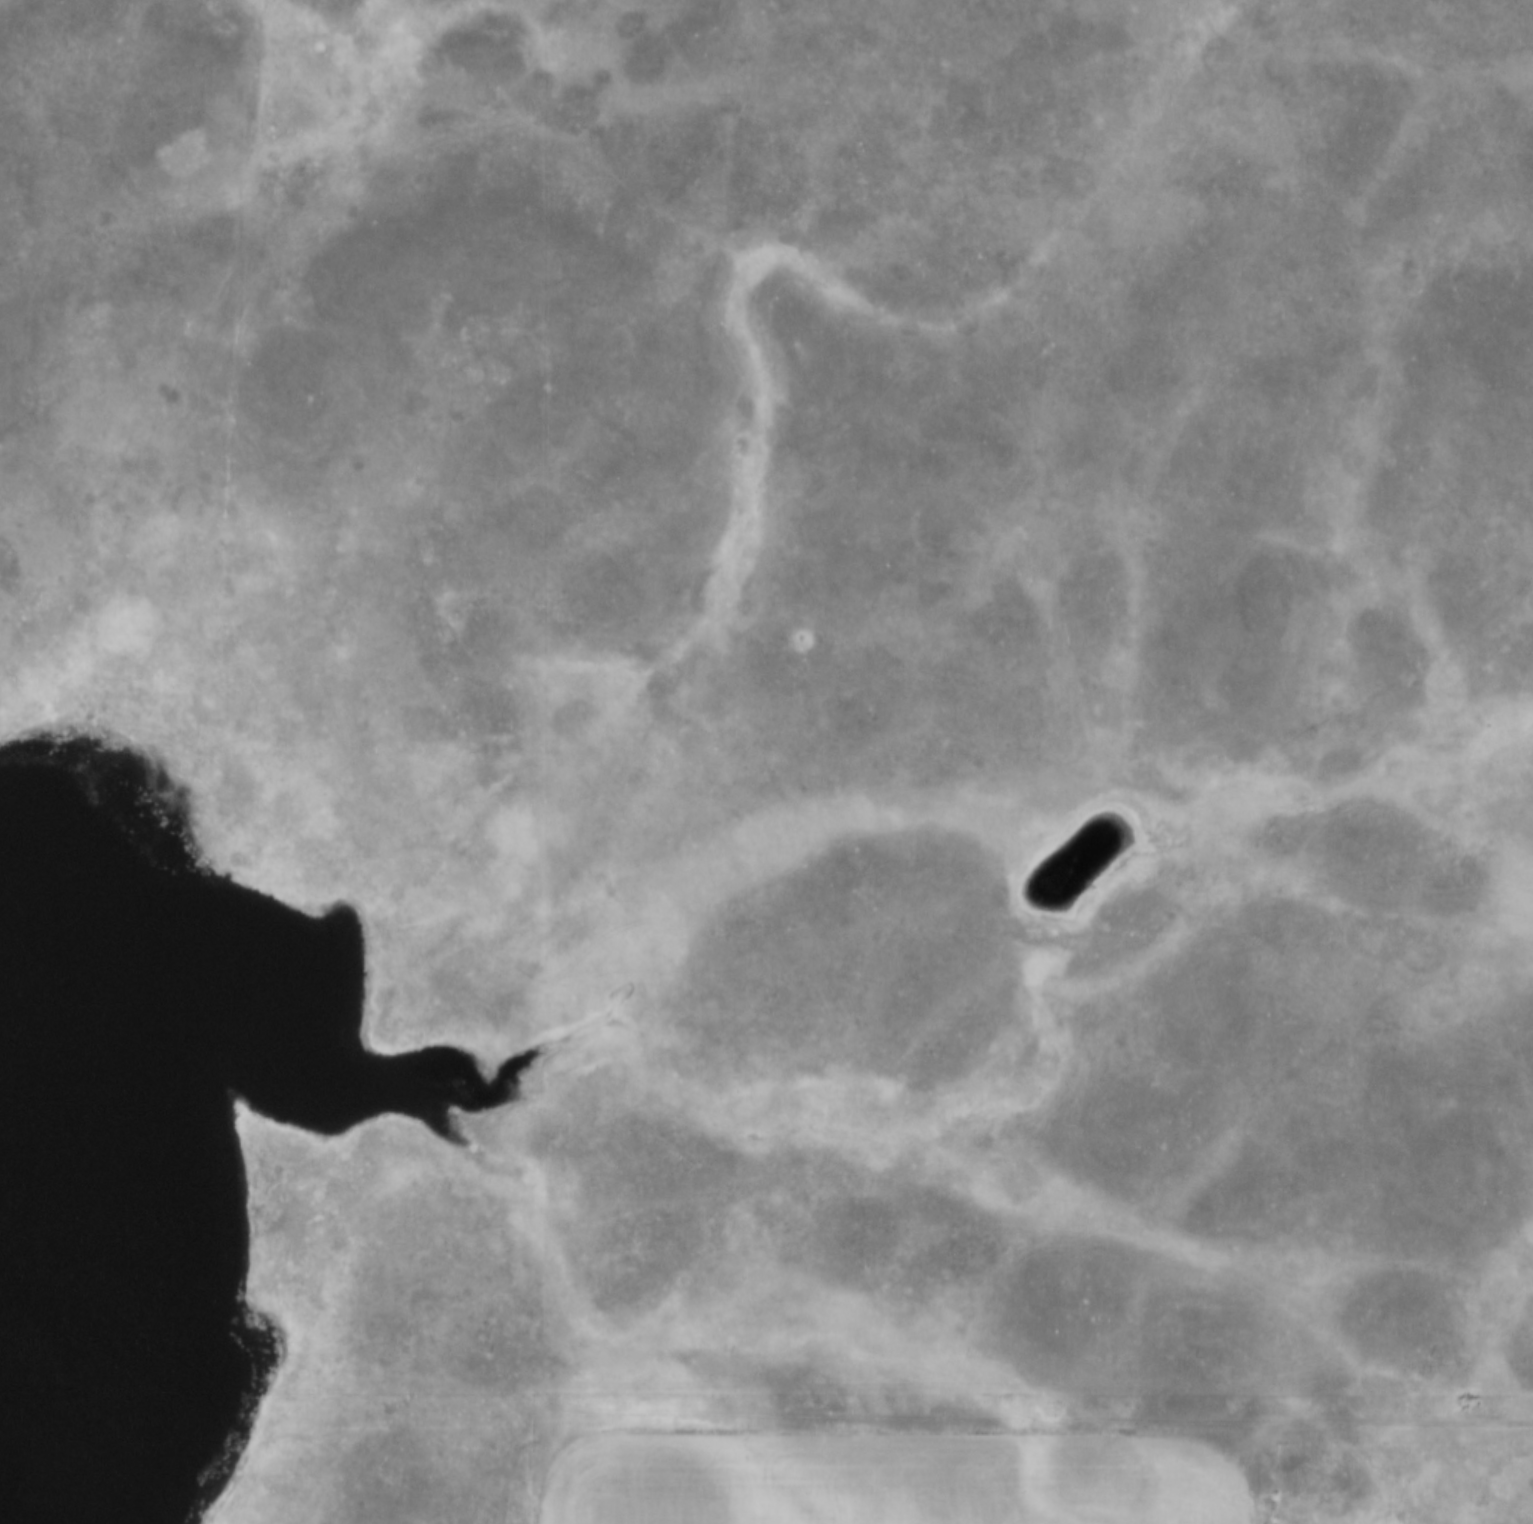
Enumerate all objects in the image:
road: (970, 1424)

